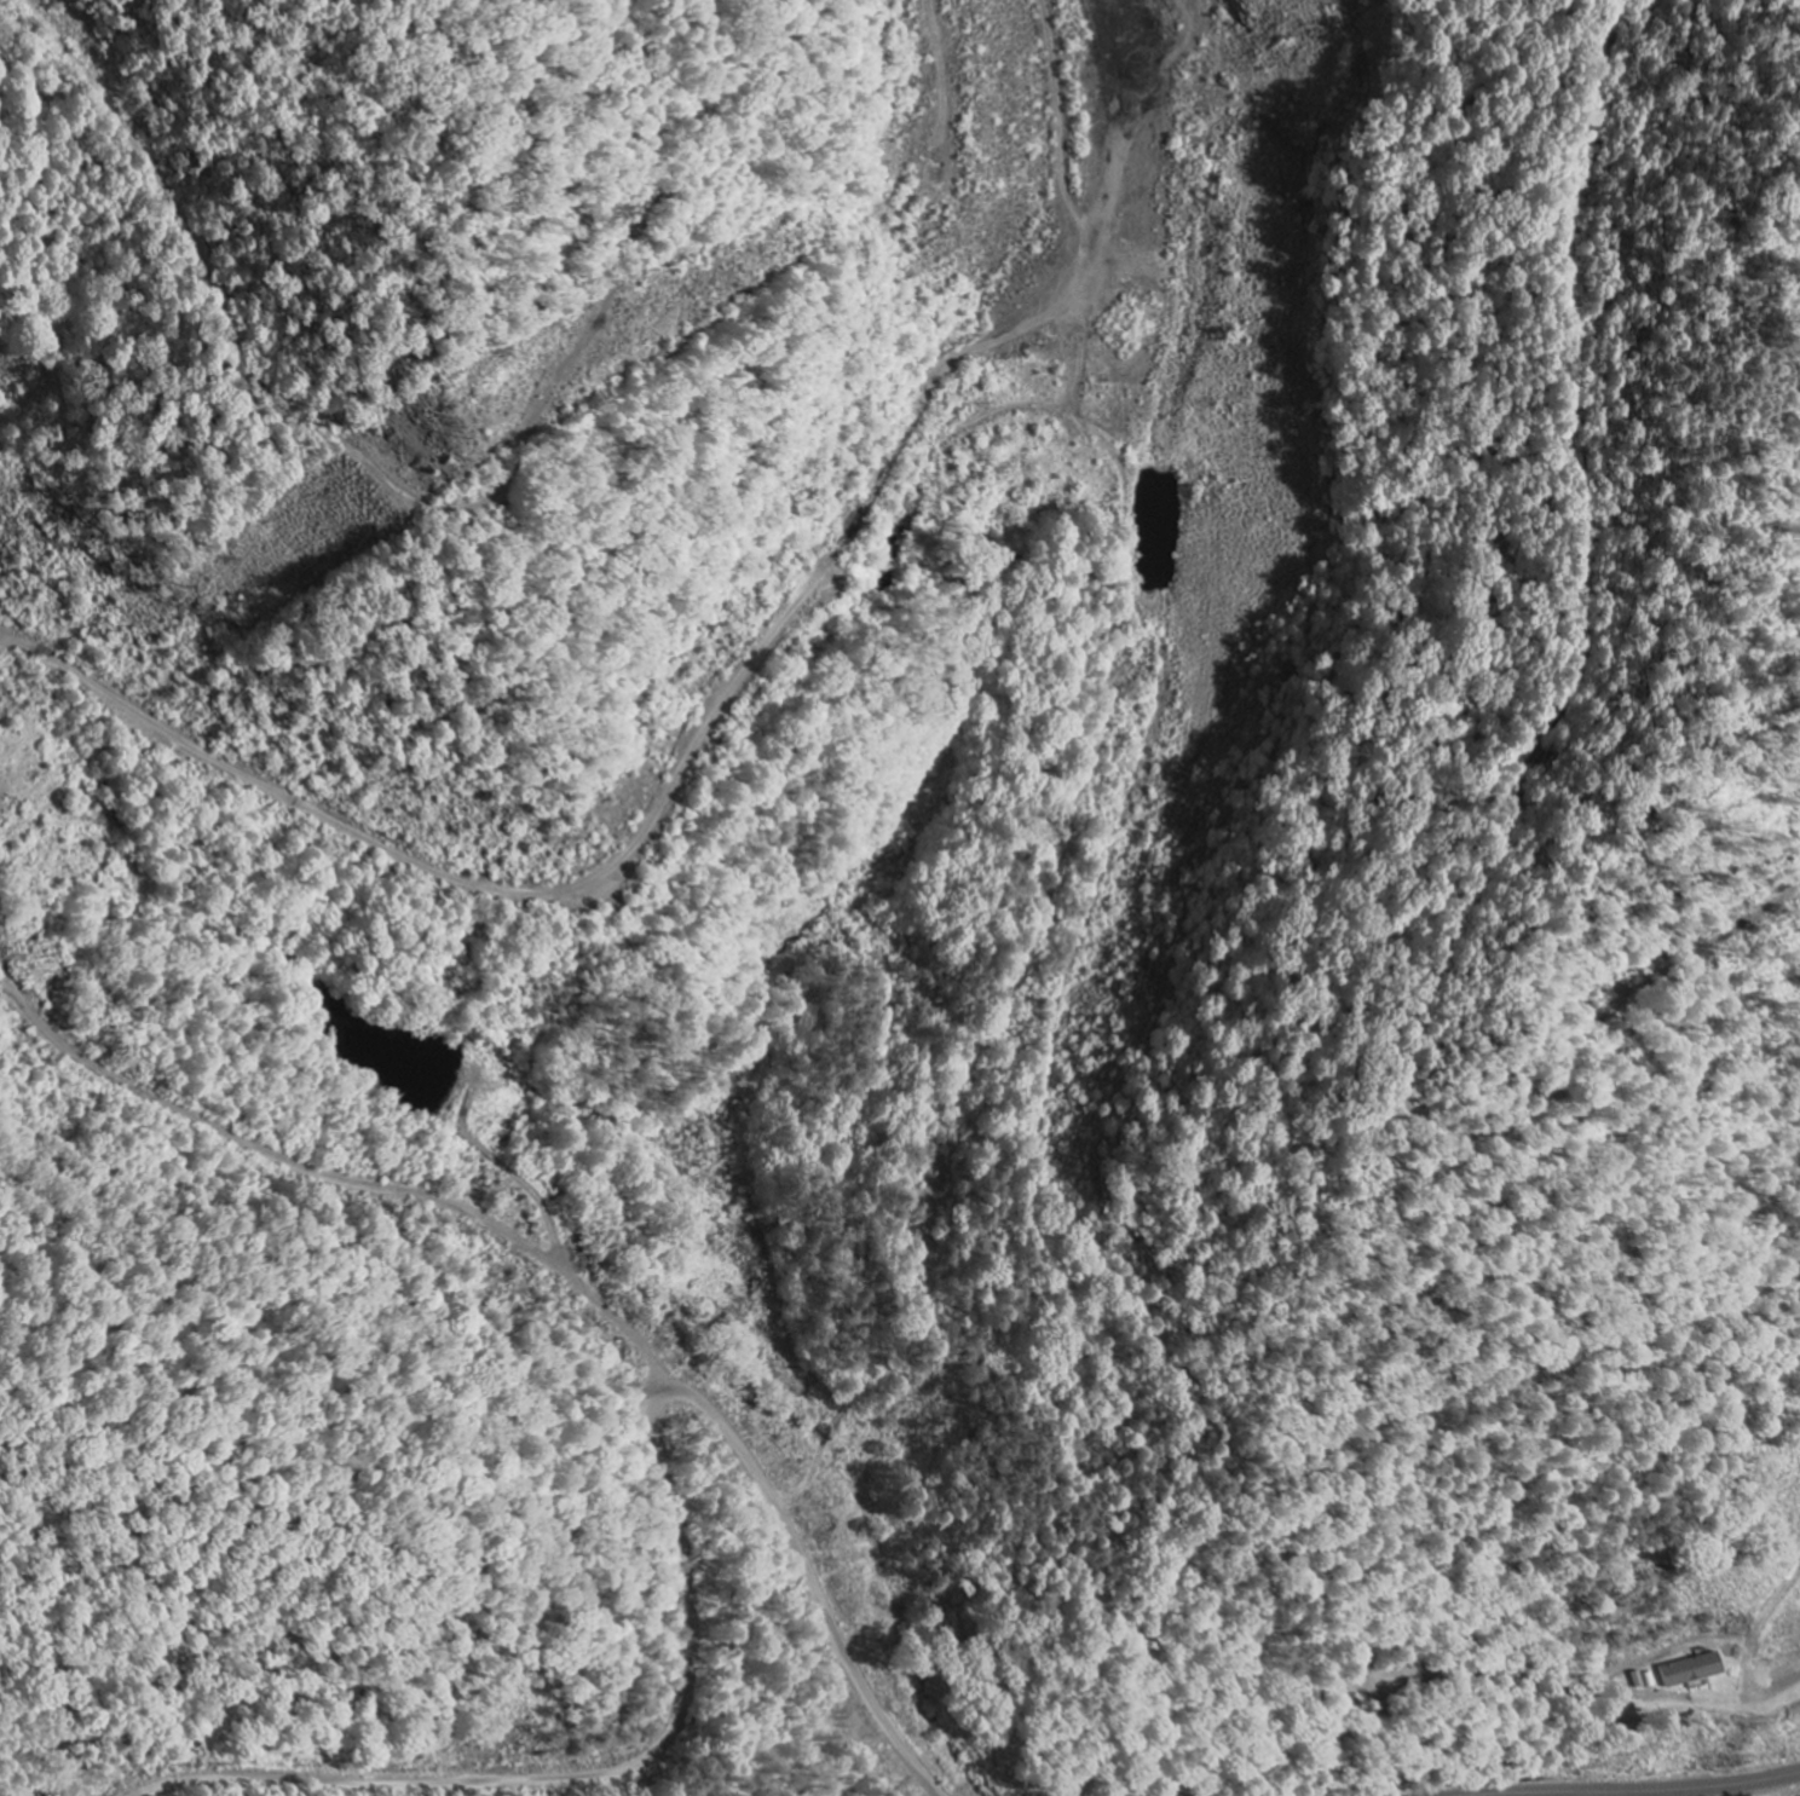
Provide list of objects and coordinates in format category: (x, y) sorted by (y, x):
building: (1692, 1670)
road: (1740, 1692)
road: (1632, 1791)

